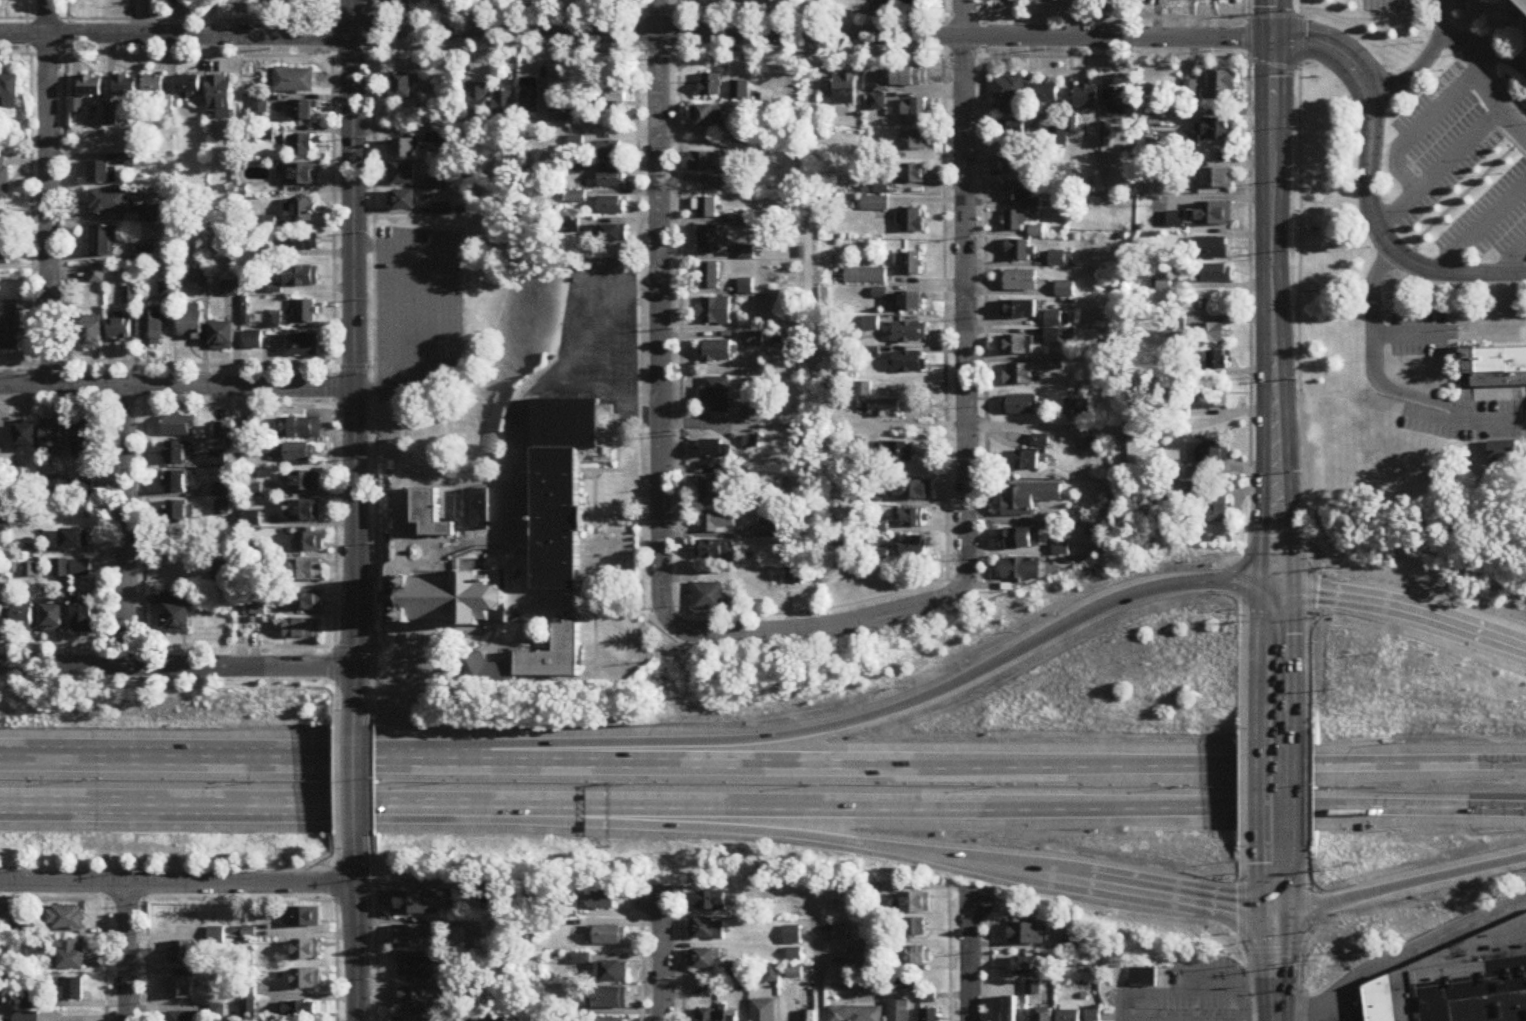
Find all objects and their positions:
building: (1117, 0)
building: (1228, 0)
building: (1525, 0)
building: (528, 1)
building: (1143, 1)
building: (715, 3)
building: (896, 3)
road: (504, 17)
road: (804, 18)
road: (1403, 21)
road: (1513, 22)
road: (635, 34)
traffic signals: (1271, 40)
road: (1331, 48)
road: (1499, 55)
road: (1426, 60)
road: (1495, 73)
building: (911, 77)
building: (294, 80)
road: (1486, 83)
building: (154, 85)
building: (710, 85)
building: (1222, 85)
building: (90, 86)
building: (125, 86)
building: (188, 86)
building: (399, 86)
building: (844, 89)
building: (9, 92)
building: (1010, 93)
building: (1047, 93)
building: (614, 95)
building: (221, 96)
building: (530, 96)
building: (478, 97)
building: (1086, 98)
building: (1118, 102)
building: (505, 105)
building: (916, 108)
building: (303, 110)
building: (558, 115)
building: (709, 115)
building: (1153, 118)
road: (1421, 128)
building: (1011, 129)
building: (1214, 130)
building: (1058, 137)
road: (1508, 140)
building: (915, 141)
building: (302, 145)
building: (404, 147)
building: (609, 152)
building: (713, 160)
building: (1016, 161)
road: (1439, 171)
building: (99, 172)
building: (402, 173)
building: (301, 174)
building: (915, 174)
building: (4, 178)
building: (1215, 178)
building: (612, 179)
road: (51, 192)
building: (1014, 192)
building: (578, 198)
building: (404, 199)
road: (1217, 199)
building: (111, 202)
building: (874, 205)
building: (612, 206)
road: (1451, 207)
building: (707, 208)
building: (302, 210)
building: (1213, 214)
building: (148, 215)
building: (1015, 221)
building: (912, 222)
building: (4, 228)
road: (1480, 229)
building: (612, 233)
building: (708, 240)
building: (103, 241)
road: (1385, 241)
building: (302, 242)
building: (1211, 248)
building: (1019, 251)
building: (3, 255)
building: (147, 257)
building: (1060, 260)
road: (1511, 260)
building: (909, 264)
building: (1216, 273)
building: (97, 275)
building: (709, 276)
building: (301, 277)
building: (865, 278)
building: (1020, 282)
building: (746, 287)
building: (1065, 290)
building: (167, 291)
road: (967, 291)
road: (1411, 291)
building: (129, 296)
building: (910, 303)
road: (663, 308)
road: (399, 310)
building: (1019, 310)
road: (438, 311)
building: (715, 311)
building: (306, 312)
building: (274, 321)
building: (190, 323)
building: (9, 326)
building: (152, 328)
building: (120, 330)
building: (1058, 330)
building: (91, 333)
building: (909, 333)
road: (1407, 333)
building: (1211, 334)
building: (220, 337)
building: (755, 340)
building: (252, 341)
building: (302, 345)
building: (1016, 346)
building: (718, 352)
road: (631, 359)
building: (1216, 360)
road: (356, 361)
building: (908, 363)
road: (1249, 364)
road: (1274, 364)
road: (1298, 364)
road: (565, 366)
building: (1495, 367)
building: (1018, 375)
road: (178, 387)
road: (1385, 388)
building: (862, 390)
building: (715, 396)
building: (1218, 396)
building: (1018, 406)
building: (884, 409)
building: (179, 426)
building: (300, 428)
road: (1123, 429)
building: (224, 431)
building: (52, 436)
building: (26, 438)
building: (83, 442)
building: (1040, 442)
building: (714, 449)
building: (178, 452)
building: (291, 453)
building: (898, 453)
building: (1500, 453)
building: (1213, 459)
building: (218, 460)
building: (1024, 461)
building: (179, 482)
building: (305, 482)
building: (564, 483)
building: (84, 487)
building: (222, 490)
building: (913, 490)
building: (710, 491)
building: (1028, 498)
building: (480, 510)
building: (1220, 510)
building: (305, 511)
building: (178, 512)
building: (428, 516)
building: (913, 518)
building: (716, 523)
road: (124, 526)
road: (240, 526)
road: (1278, 536)
building: (75, 539)
building: (1024, 539)
building: (180, 541)
building: (309, 543)
building: (911, 546)
building: (714, 550)
building: (62, 568)
building: (82, 568)
building: (1021, 570)
building: (220, 571)
building: (303, 571)
traffic signals: (1277, 585)
building: (708, 597)
building: (447, 599)
building: (306, 600)
road: (1403, 609)
building: (2, 615)
building: (84, 615)
building: (177, 615)
building: (54, 617)
building: (24, 619)
road: (820, 627)
building: (302, 629)
building: (538, 660)
road: (178, 665)
road: (851, 722)
road: (697, 763)
road: (1461, 766)
road: (357, 776)
road: (1309, 788)
road: (1276, 789)
road: (1244, 790)
road: (608, 807)
road: (1372, 810)
road: (654, 824)
road: (178, 885)
road: (1401, 887)
road: (1152, 889)
building: (416, 899)
building: (603, 900)
building: (715, 901)
building: (916, 903)
building: (796, 911)
traffic signals: (1277, 911)
building: (302, 917)
building: (65, 919)
road: (357, 924)
building: (914, 929)
building: (707, 930)
building: (841, 933)
road: (817, 934)
building: (1025, 934)
building: (606, 935)
road: (1308, 935)
building: (792, 936)
road: (1244, 936)
road: (1277, 936)
building: (411, 937)
road: (1434, 942)
building: (306, 950)
road: (1273, 951)
road: (129, 953)
building: (183, 953)
building: (70, 955)
building: (794, 955)
building: (919, 956)
building: (855, 958)
building: (702, 959)
road: (969, 959)
road: (665, 960)
building: (1030, 967)
building: (415, 968)
building: (614, 973)
building: (794, 973)
building: (1143, 977)
building: (306, 979)
building: (906, 981)
building: (1448, 981)
building: (181, 988)
building: (74, 990)
building: (928, 998)
building: (413, 999)
building: (610, 999)
road: (1343, 1005)
road: (1313, 1006)
building: (300, 1011)
building: (762, 1011)
building: (898, 1011)
building: (1069, 1012)
building: (855, 1014)
building: (1044, 1014)
road: (1309, 1014)
building: (705, 1015)
building: (929, 1015)
building: (1093, 1015)
building: (728, 1016)
building: (809, 1016)
building: (409, 1019)
road: (1203, 1019)
building: (607, 1020)

